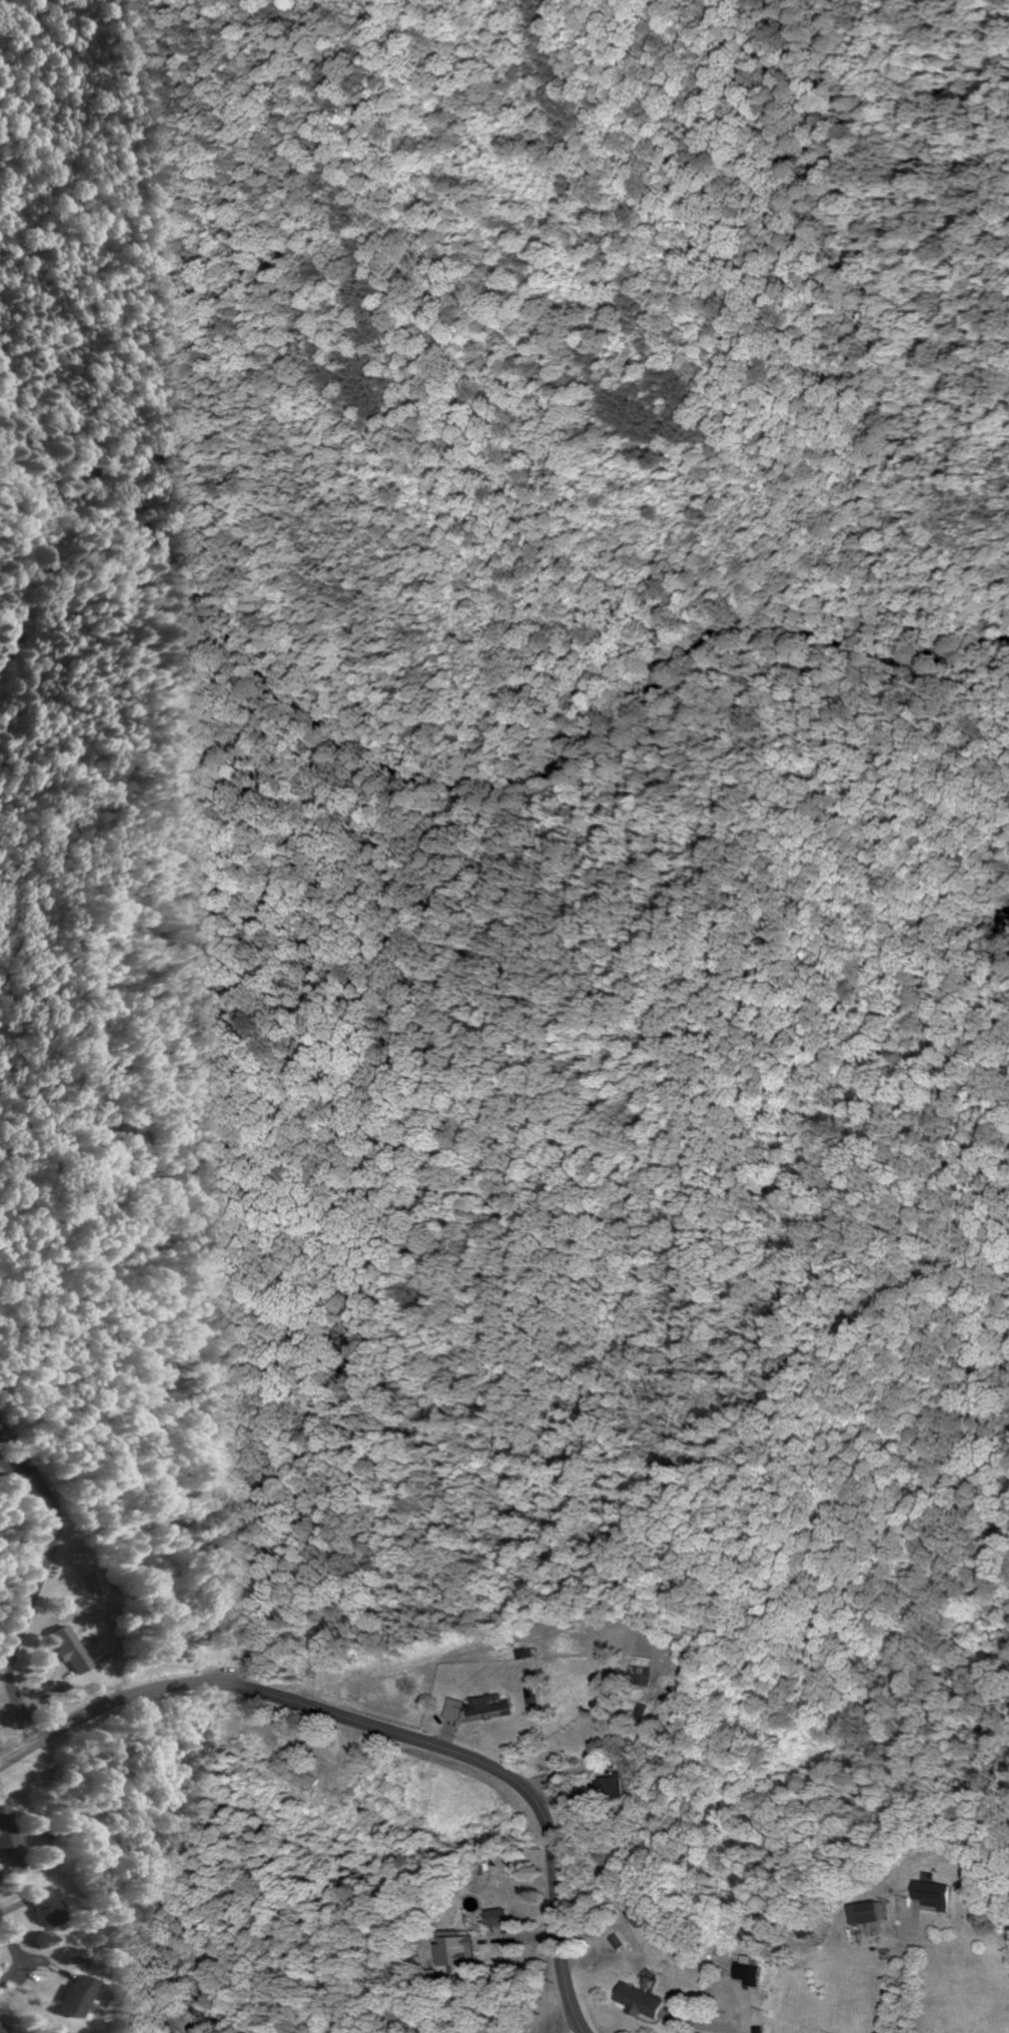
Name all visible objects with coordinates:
building: (0, 1428)
road: (33, 1599)
building: (213, 1635)
building: (65, 1651)
building: (644, 1677)
building: (491, 1705)
building: (456, 1710)
road: (382, 1731)
building: (612, 1788)
building: (2, 1837)
building: (939, 1895)
building: (30, 1909)
building: (872, 1913)
building: (496, 1917)
building: (459, 1952)
road: (8, 1955)
building: (752, 1971)
road: (914, 1971)
building: (61, 1997)
building: (642, 2002)
road: (574, 2024)
building: (0, 2029)

